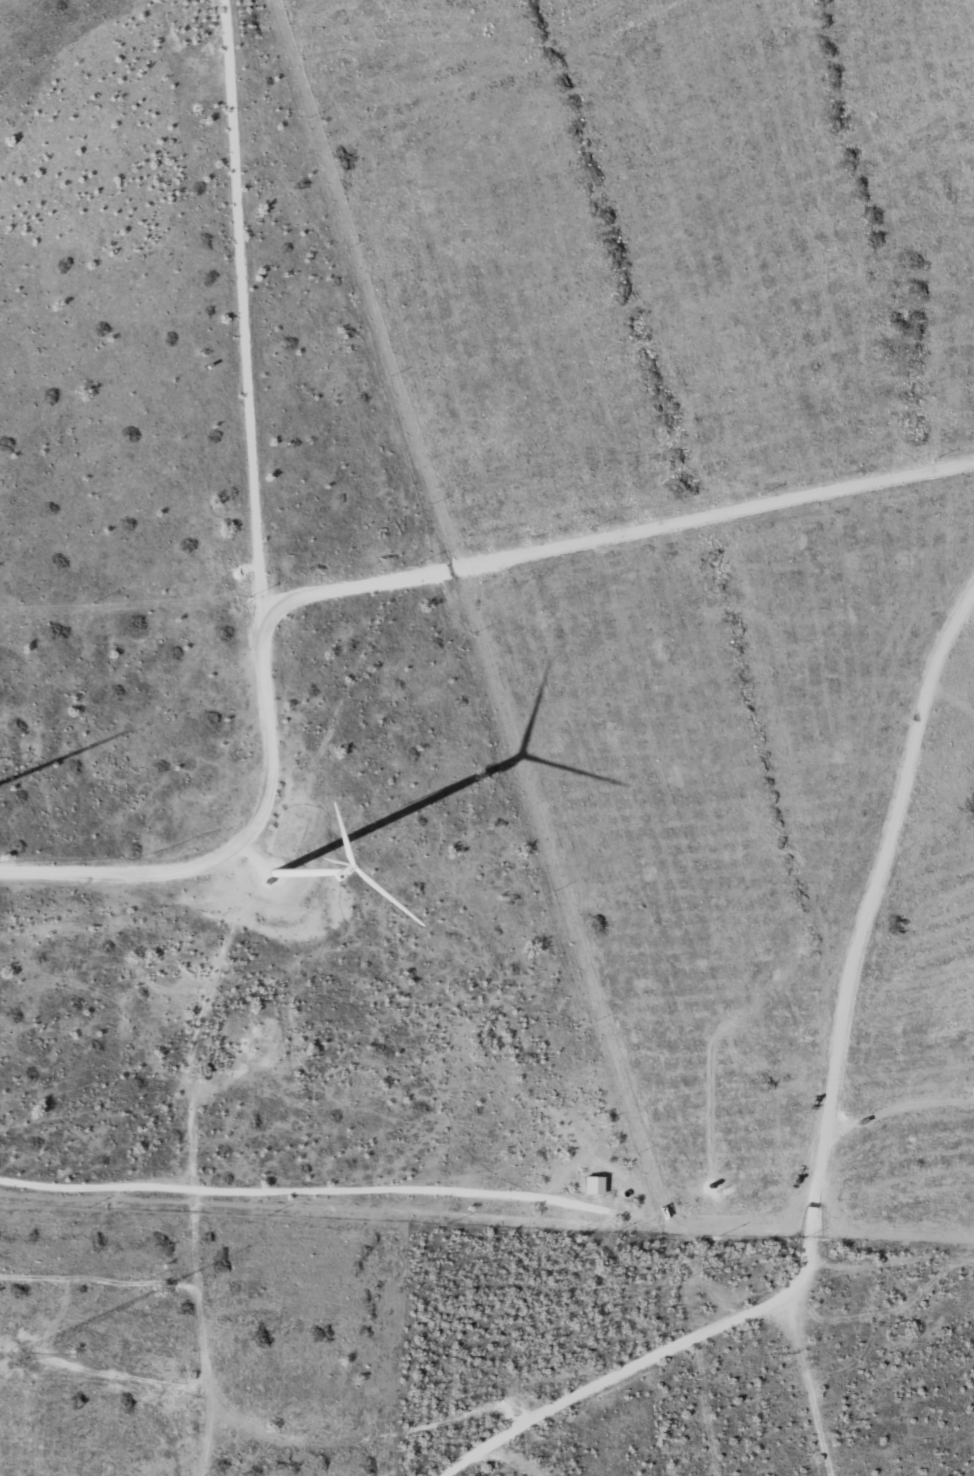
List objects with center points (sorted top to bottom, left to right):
wind turbine: (275, 874)
road: (848, 1040)
building: (592, 1184)
road: (406, 1200)
road: (626, 1402)

